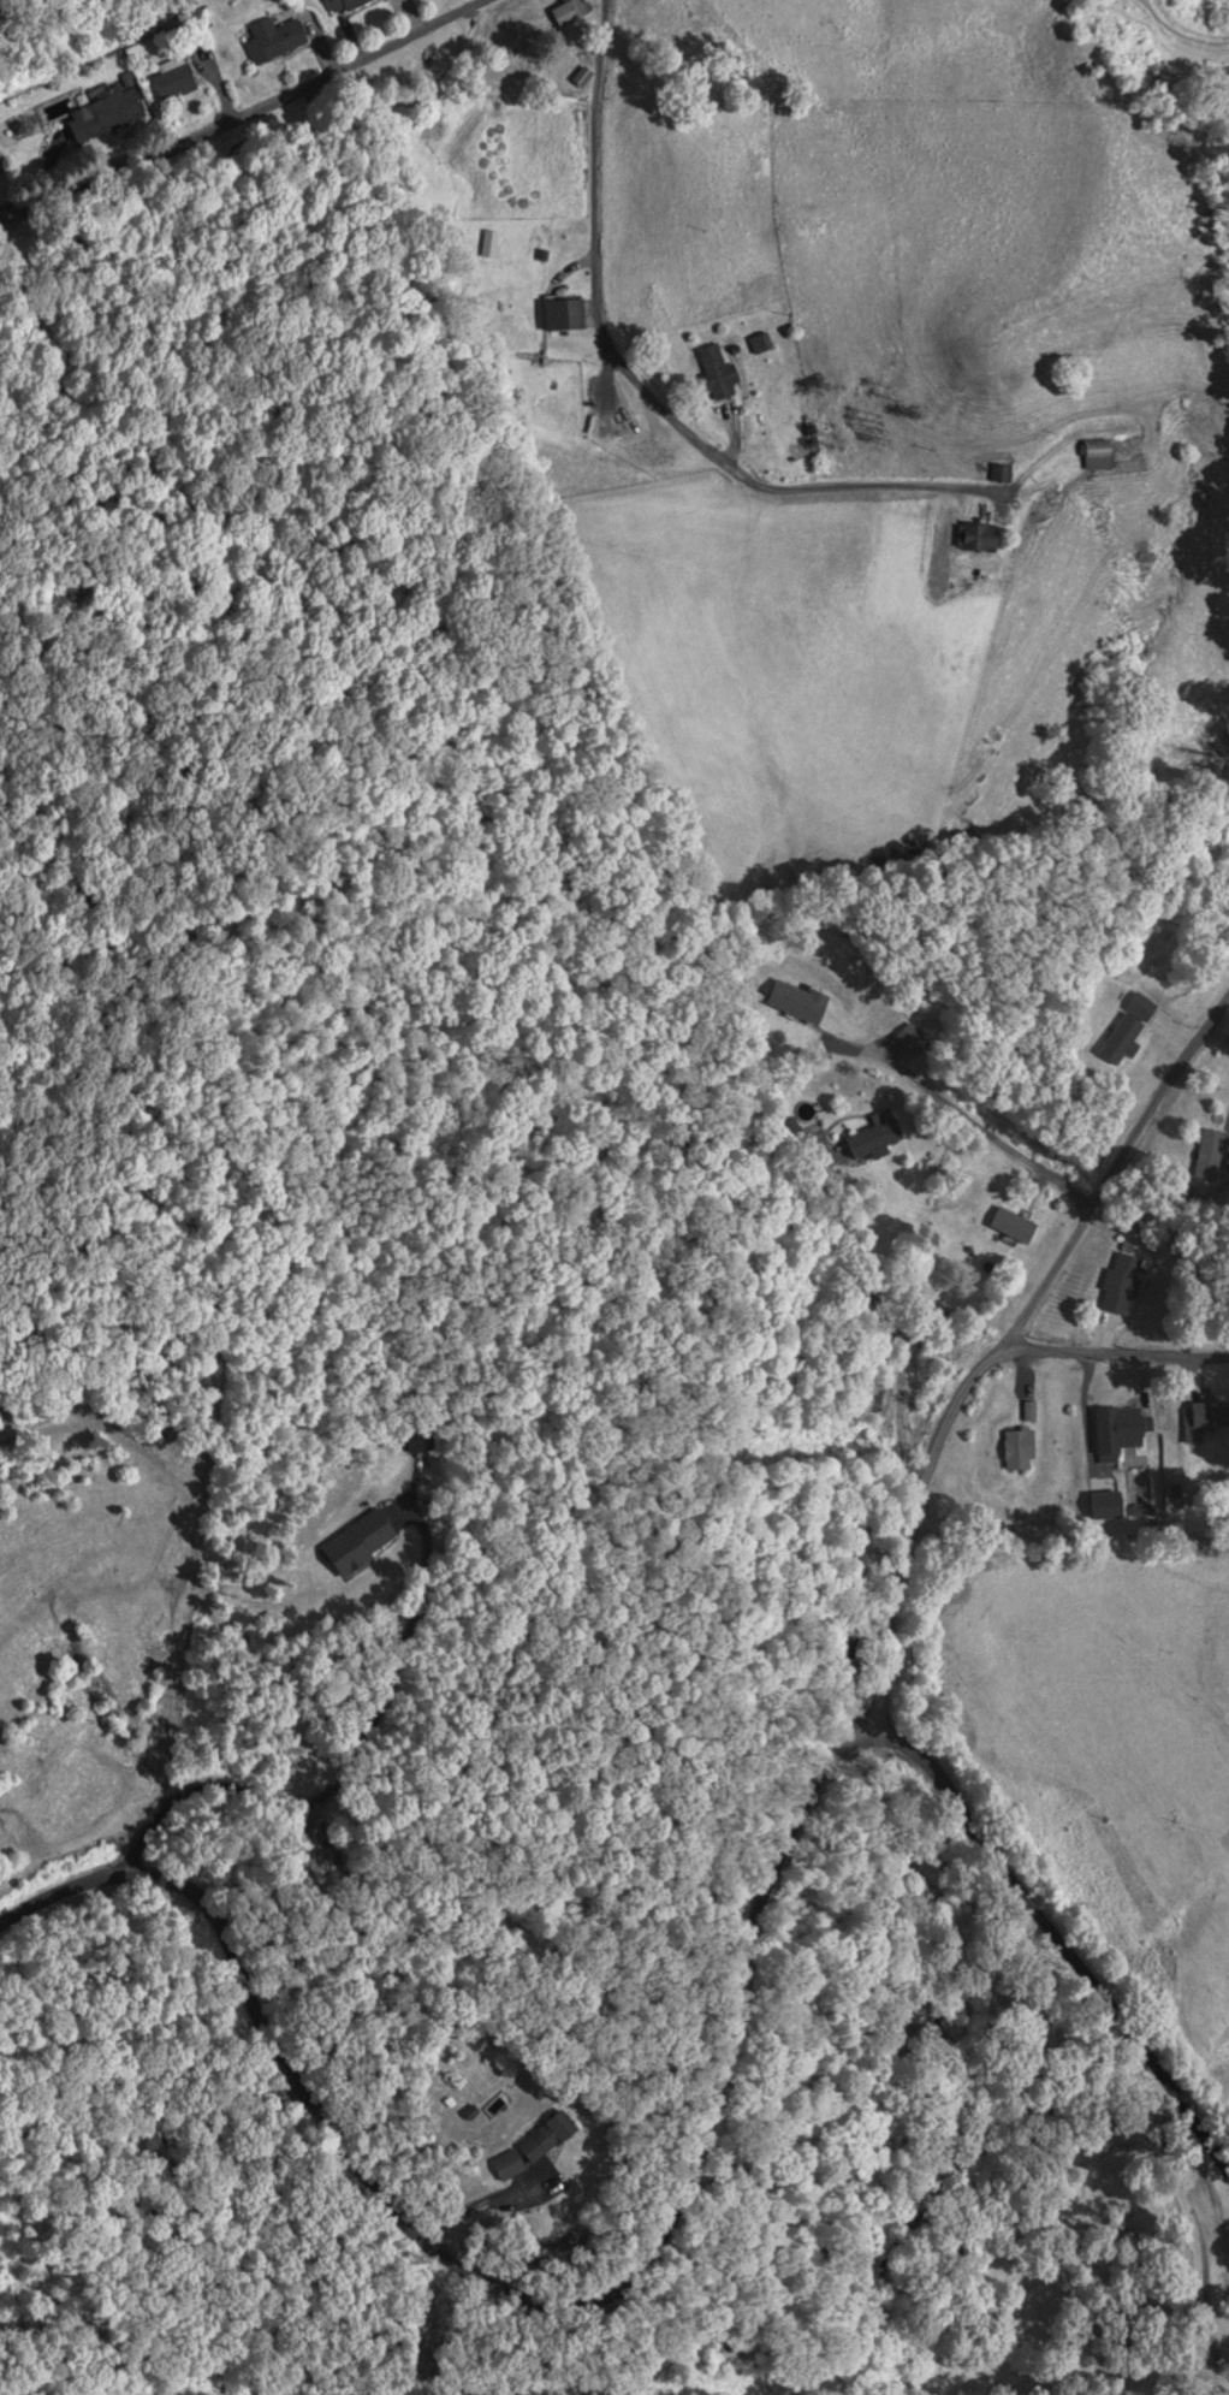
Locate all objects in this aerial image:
building: (339, 4)
building: (569, 11)
building: (273, 38)
building: (173, 78)
building: (107, 109)
road: (247, 112)
building: (488, 242)
road: (595, 279)
building: (563, 313)
building: (760, 343)
building: (717, 372)
building: (1098, 453)
road: (884, 488)
building: (980, 536)
building: (797, 1001)
building: (1127, 1028)
building: (874, 1138)
building: (1209, 1154)
road: (1115, 1178)
building: (1011, 1225)
building: (1118, 1284)
road: (1109, 1352)
building: (1120, 1431)
building: (1017, 1451)
road: (906, 1541)
building: (357, 1543)
road: (964, 1821)
building: (547, 2136)
building: (509, 2164)
road: (384, 2201)

